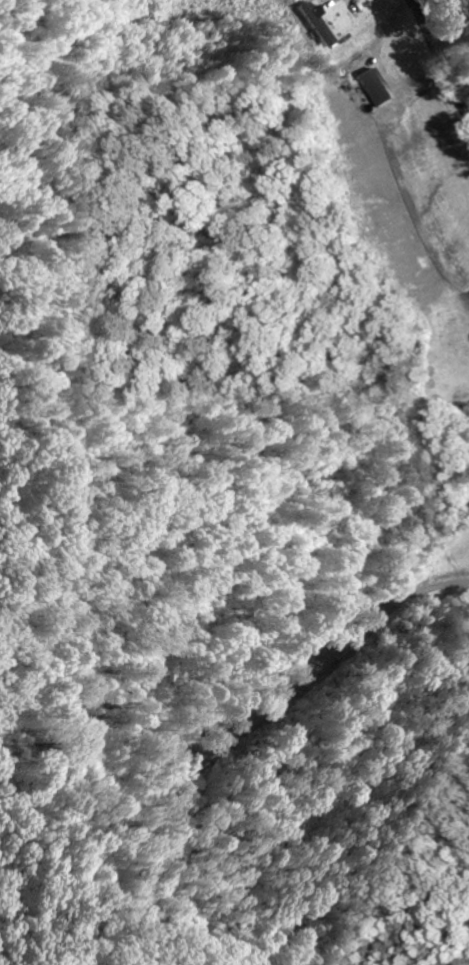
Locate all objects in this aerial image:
building: (318, 20)
road: (442, 57)
building: (376, 86)

